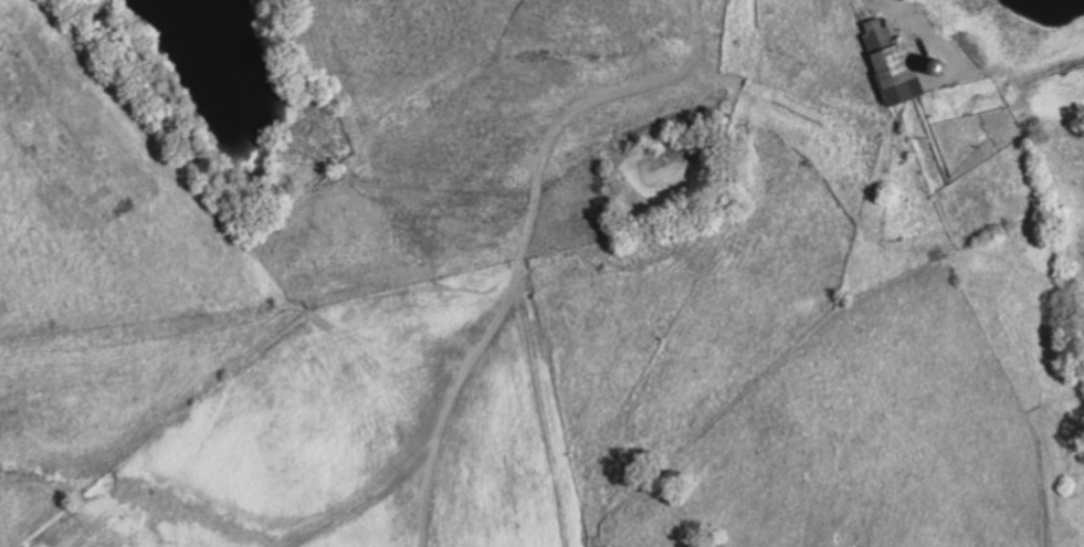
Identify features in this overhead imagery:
building: (893, 63)

